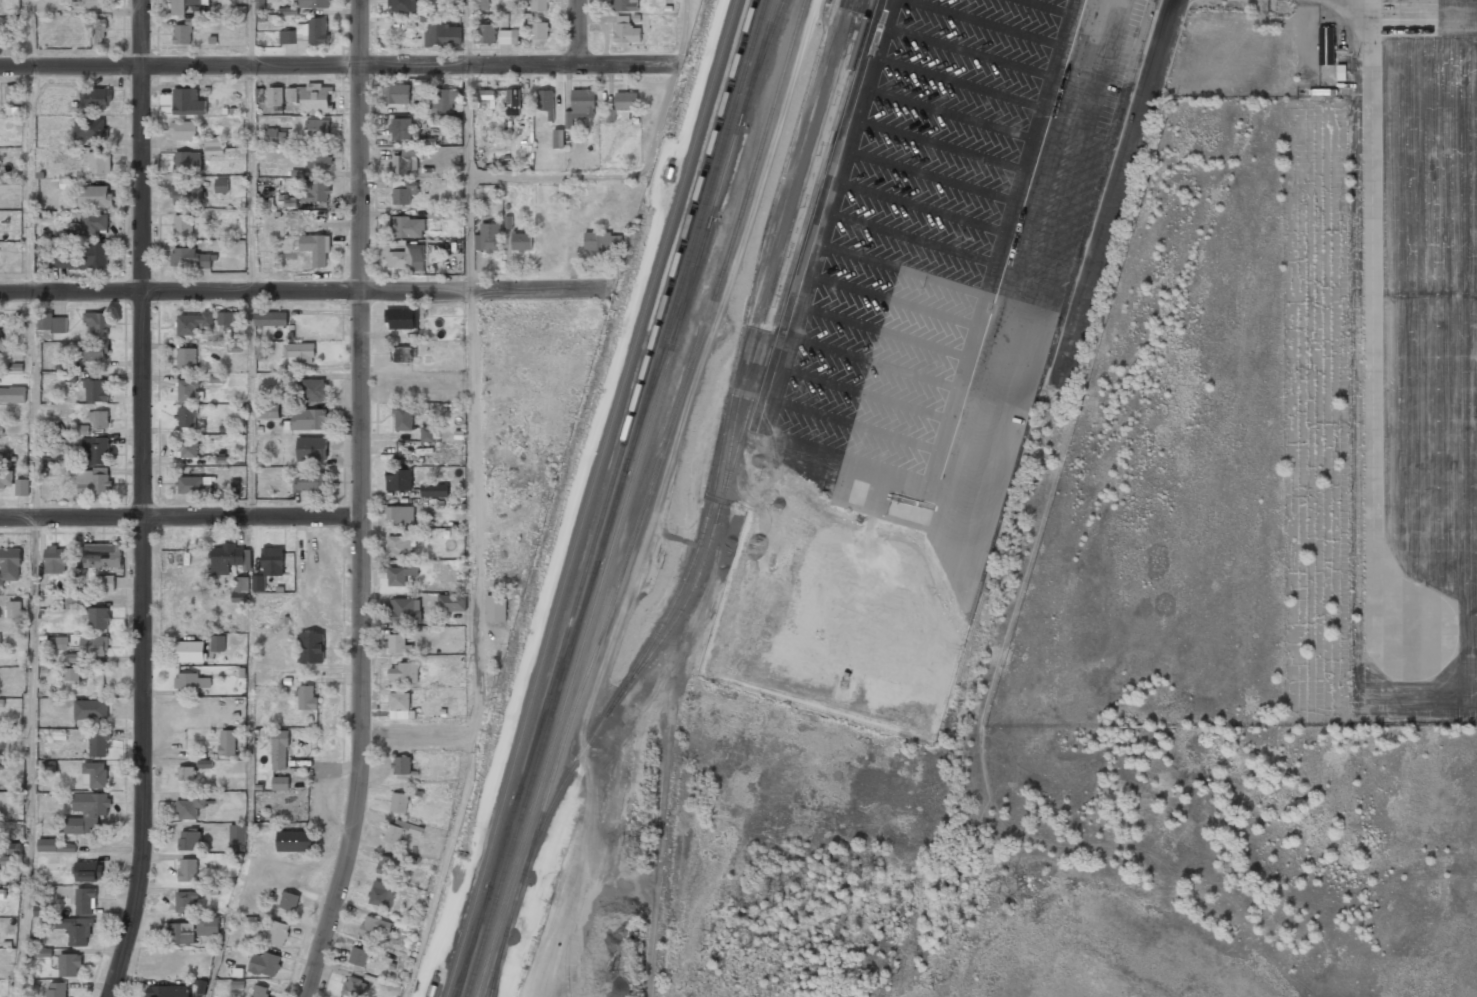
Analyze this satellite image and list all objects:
building: (98, 3)
building: (314, 3)
building: (184, 5)
building: (406, 5)
building: (481, 5)
building: (536, 5)
building: (626, 5)
building: (260, 7)
building: (537, 29)
building: (97, 30)
building: (306, 31)
building: (626, 31)
road: (577, 32)
road: (251, 33)
building: (485, 33)
road: (686, 33)
building: (182, 34)
building: (443, 34)
building: (508, 36)
building: (1326, 46)
road: (518, 65)
road: (179, 66)
building: (11, 92)
building: (397, 93)
building: (487, 94)
building: (312, 96)
building: (96, 97)
building: (275, 97)
building: (445, 99)
building: (626, 100)
building: (187, 101)
building: (513, 101)
building: (546, 101)
building: (581, 104)
building: (610, 117)
building: (319, 127)
building: (91, 128)
building: (401, 129)
building: (184, 130)
building: (276, 136)
building: (424, 141)
road: (27, 145)
building: (214, 145)
building: (187, 160)
building: (318, 160)
building: (405, 160)
building: (99, 161)
road: (554, 175)
building: (67, 183)
building: (11, 184)
building: (221, 185)
building: (316, 191)
building: (404, 193)
building: (183, 194)
building: (95, 195)
building: (435, 214)
building: (95, 222)
building: (290, 222)
building: (183, 225)
building: (408, 226)
building: (488, 236)
building: (521, 241)
building: (603, 241)
building: (316, 247)
railway: (783, 254)
building: (87, 257)
building: (407, 257)
railway: (709, 257)
building: (189, 258)
road: (482, 289)
road: (180, 292)
road: (252, 292)
building: (225, 317)
building: (273, 317)
building: (401, 318)
building: (98, 322)
building: (195, 322)
building: (54, 323)
road: (1066, 330)
building: (0, 333)
building: (96, 350)
building: (261, 350)
building: (300, 351)
building: (403, 354)
railway: (741, 355)
building: (187, 357)
building: (67, 368)
building: (217, 378)
railway: (681, 383)
building: (97, 388)
building: (314, 388)
building: (188, 389)
building: (12, 394)
road: (33, 404)
building: (269, 411)
building: (187, 417)
building: (405, 417)
building: (100, 418)
building: (309, 418)
building: (80, 429)
building: (427, 433)
building: (94, 448)
building: (312, 448)
railway: (737, 448)
building: (188, 449)
building: (53, 456)
building: (5, 457)
building: (398, 478)
building: (6, 480)
building: (94, 480)
building: (308, 481)
building: (195, 484)
building: (22, 486)
building: (235, 486)
building: (434, 490)
railway: (592, 492)
railway: (607, 498)
railway: (617, 498)
road: (142, 500)
road: (360, 502)
road: (474, 504)
building: (400, 512)
road: (180, 517)
building: (400, 544)
building: (102, 555)
building: (226, 556)
building: (57, 558)
building: (272, 560)
building: (10, 564)
building: (400, 573)
building: (259, 582)
building: (106, 583)
building: (241, 589)
building: (76, 602)
building: (452, 602)
building: (14, 608)
building: (405, 608)
building: (496, 608)
building: (97, 616)
building: (0, 641)
building: (62, 642)
building: (397, 642)
building: (218, 643)
building: (94, 644)
building: (311, 647)
building: (190, 651)
building: (72, 657)
railway: (591, 664)
building: (403, 673)
building: (72, 674)
building: (191, 681)
railway: (555, 687)
building: (308, 695)
building: (399, 701)
building: (2, 704)
building: (91, 708)
road: (416, 735)
building: (100, 742)
building: (228, 742)
building: (280, 749)
road: (32, 757)
building: (205, 763)
building: (402, 765)
building: (48, 766)
building: (185, 772)
building: (95, 774)
building: (280, 783)
building: (400, 802)
building: (188, 807)
building: (87, 810)
building: (398, 830)
building: (238, 833)
building: (190, 839)
building: (295, 840)
building: (47, 843)
building: (11, 848)
building: (387, 864)
building: (188, 868)
building: (87, 870)
building: (382, 892)
building: (1, 893)
building: (86, 900)
building: (289, 900)
building: (186, 901)
building: (43, 910)
building: (249, 921)
building: (374, 924)
building: (208, 925)
railway: (498, 927)
building: (76, 929)
building: (181, 932)
building: (279, 932)
building: (45, 952)
building: (359, 955)
building: (265, 962)
building: (69, 964)
railway: (482, 979)
building: (354, 986)
building: (56, 989)
railway: (445, 990)
building: (168, 991)
building: (260, 991)

